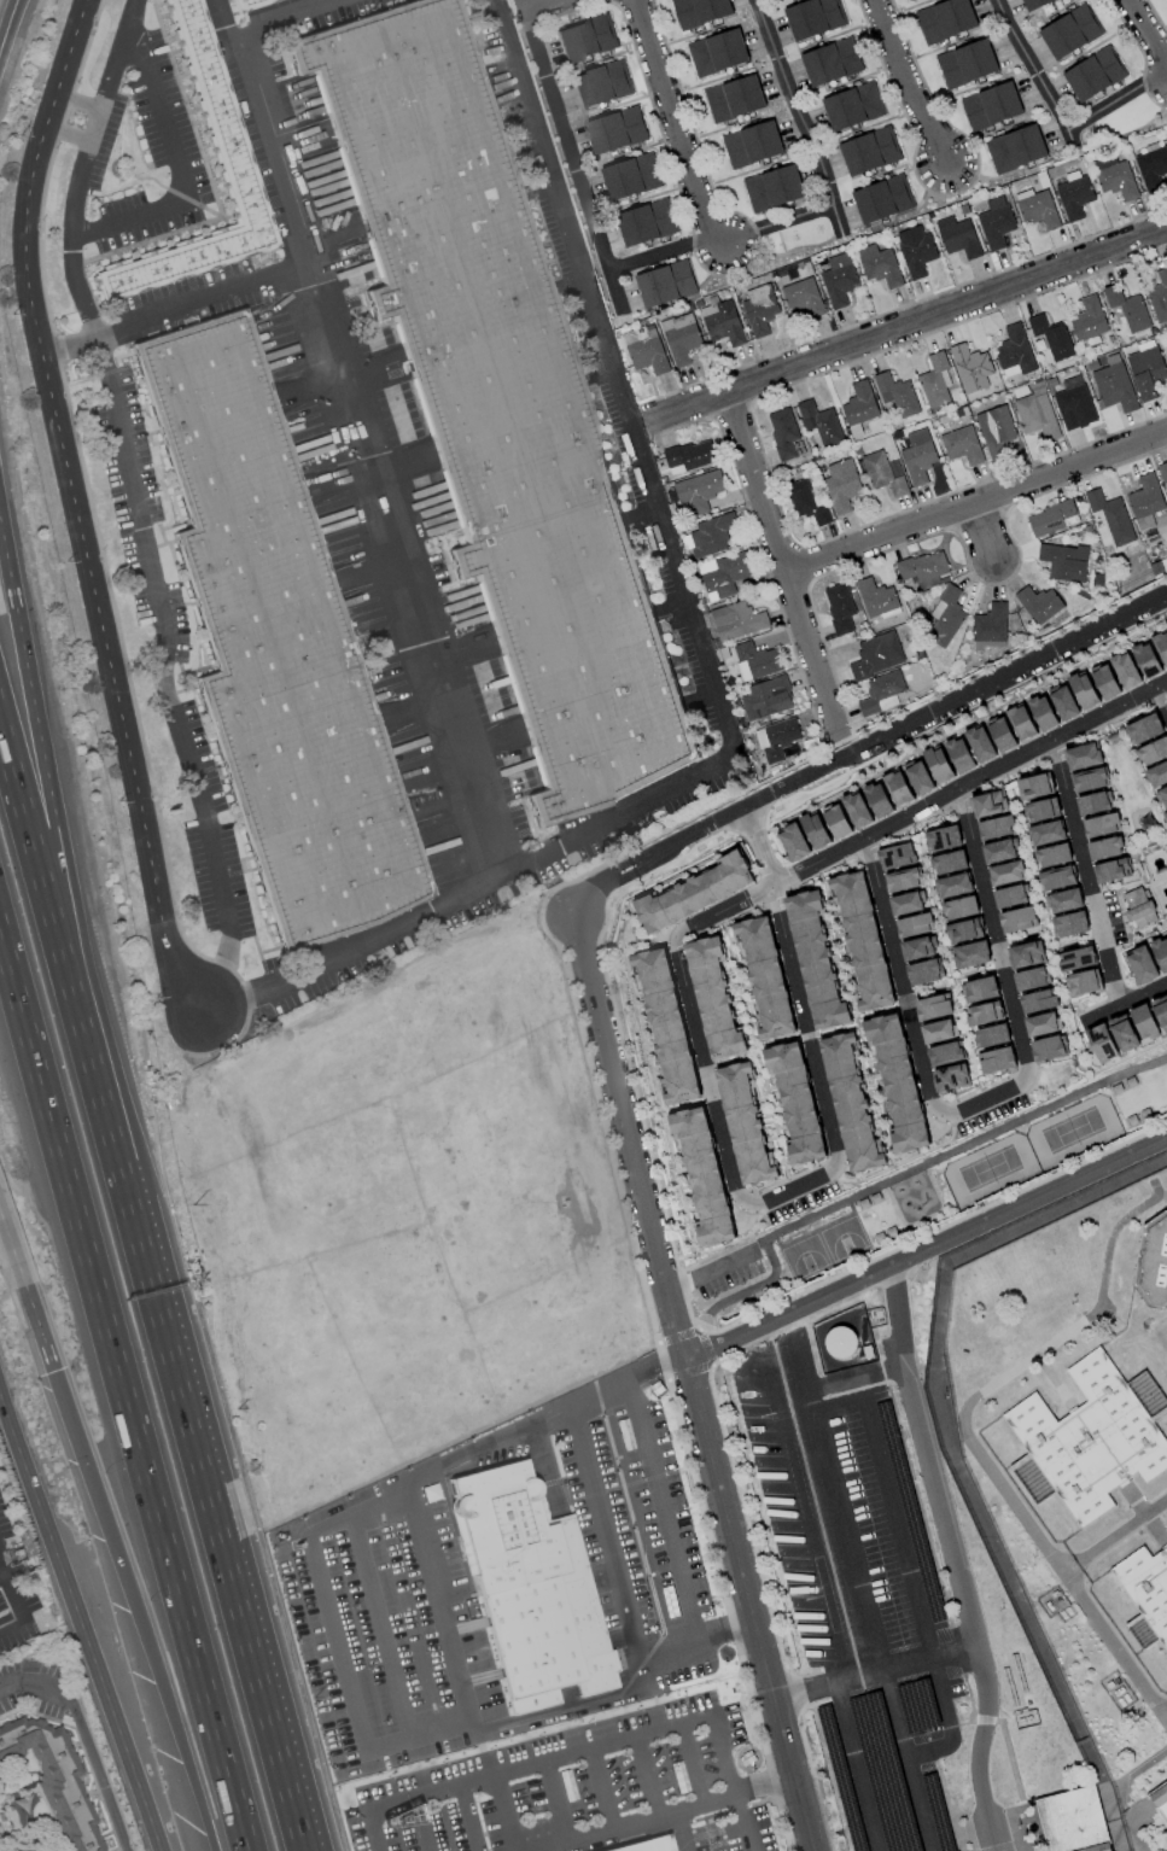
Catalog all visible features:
building: (908, 0)
building: (245, 2)
building: (1034, 4)
road: (550, 6)
building: (699, 11)
road: (281, 14)
building: (813, 17)
building: (945, 21)
road: (10, 29)
building: (1069, 31)
road: (1148, 33)
building: (585, 39)
building: (717, 52)
building: (830, 62)
building: (965, 63)
road: (1034, 71)
building: (1093, 74)
road: (911, 82)
building: (600, 83)
building: (734, 98)
road: (1114, 100)
road: (80, 101)
building: (852, 106)
building: (991, 106)
road: (799, 118)
road: (678, 122)
building: (615, 130)
road: (70, 136)
building: (226, 139)
building: (751, 144)
building: (1015, 148)
building: (869, 151)
road: (572, 154)
road: (82, 168)
building: (1151, 168)
road: (180, 170)
building: (630, 176)
building: (1114, 177)
building: (772, 188)
building: (882, 199)
building: (1037, 208)
building: (994, 222)
building: (644, 223)
road: (775, 223)
building: (957, 237)
building: (915, 250)
road: (663, 252)
building: (879, 264)
building: (838, 280)
building: (665, 284)
building: (803, 297)
building: (1159, 297)
road: (204, 300)
building: (759, 308)
building: (1126, 308)
building: (1089, 320)
building: (722, 322)
road: (911, 325)
building: (1051, 337)
building: (679, 338)
road: (70, 345)
building: (646, 350)
building: (1014, 352)
building: (970, 368)
building: (1145, 369)
building: (935, 380)
building: (1114, 387)
building: (895, 395)
building: (496, 396)
building: (1070, 398)
building: (858, 407)
building: (1035, 411)
building: (819, 421)
building: (994, 431)
road: (356, 432)
building: (784, 434)
building: (962, 445)
building: (689, 456)
building: (917, 456)
building: (883, 473)
building: (1163, 474)
building: (840, 484)
building: (698, 491)
road: (975, 501)
building: (1145, 501)
building: (806, 502)
road: (75, 509)
building: (1110, 516)
building: (1051, 518)
road: (980, 532)
building: (710, 535)
building: (1063, 561)
road: (783, 568)
building: (922, 570)
building: (723, 574)
building: (876, 598)
building: (1039, 603)
building: (839, 607)
building: (945, 617)
building: (736, 620)
building: (990, 626)
building: (273, 640)
building: (1161, 644)
road: (24, 649)
road: (702, 654)
building: (876, 654)
building: (1146, 659)
building: (755, 660)
building: (1126, 670)
road: (167, 675)
building: (1105, 681)
building: (1084, 690)
building: (880, 693)
building: (766, 697)
road: (1163, 697)
building: (1064, 702)
building: (1043, 712)
building: (1021, 722)
road: (906, 726)
building: (1144, 729)
building: (782, 732)
building: (1003, 735)
building: (981, 743)
building: (1153, 752)
building: (961, 755)
building: (1083, 755)
building: (939, 764)
building: (1157, 775)
building: (920, 777)
building: (1089, 779)
building: (1034, 787)
building: (899, 788)
building: (1162, 796)
building: (879, 800)
road: (17, 801)
building: (990, 804)
building: (1092, 804)
building: (857, 810)
building: (1039, 811)
road: (921, 813)
building: (1165, 816)
building: (838, 821)
road: (40, 824)
building: (1101, 825)
building: (996, 828)
building: (816, 830)
building: (1046, 833)
building: (943, 839)
building: (794, 842)
building: (1104, 848)
building: (998, 851)
building: (1052, 856)
building: (895, 857)
building: (949, 863)
road: (615, 868)
building: (1111, 870)
building: (1006, 872)
road: (1087, 875)
road: (623, 878)
building: (1057, 878)
building: (903, 880)
road: (661, 883)
building: (953, 884)
road: (585, 892)
building: (695, 892)
building: (1010, 897)
building: (1064, 900)
building: (906, 903)
road: (574, 905)
building: (961, 907)
building: (1138, 907)
building: (1017, 919)
building: (1069, 924)
building: (915, 925)
building: (962, 930)
road: (1049, 938)
building: (863, 940)
road: (838, 945)
building: (917, 948)
building: (1160, 952)
building: (971, 954)
building: (1027, 954)
road: (947, 958)
building: (1076, 959)
road: (587, 962)
building: (816, 962)
building: (1142, 965)
road: (978, 970)
building: (923, 973)
building: (764, 975)
building: (1031, 979)
building: (1083, 983)
road: (929, 989)
building: (980, 989)
building: (714, 999)
building: (1038, 1000)
road: (1121, 1004)
building: (933, 1008)
road: (881, 1010)
building: (985, 1014)
building: (1150, 1018)
building: (666, 1024)
building: (1040, 1024)
road: (833, 1030)
building: (938, 1030)
building: (1124, 1033)
building: (993, 1035)
road: (780, 1039)
building: (1101, 1043)
building: (1048, 1049)
road: (755, 1052)
building: (945, 1053)
road: (1120, 1058)
road: (730, 1059)
building: (997, 1059)
road: (39, 1074)
building: (951, 1078)
building: (897, 1081)
road: (875, 1094)
road: (986, 1098)
building: (795, 1102)
building: (850, 1103)
building: (743, 1122)
road: (666, 1138)
road: (111, 1144)
road: (899, 1162)
road: (829, 1172)
building: (702, 1175)
road: (894, 1178)
park: (933, 1189)
road: (934, 1230)
road: (923, 1244)
road: (677, 1257)
building: (1153, 1262)
road: (19, 1271)
road: (710, 1273)
building: (840, 1343)
road: (46, 1348)
road: (702, 1432)
road: (964, 1436)
building: (1095, 1437)
road: (543, 1472)
road: (660, 1511)
road: (894, 1517)
road: (601, 1531)
road: (167, 1534)
road: (1114, 1534)
road: (952, 1555)
road: (567, 1558)
road: (854, 1572)
road: (601, 1573)
building: (1148, 1588)
building: (530, 1590)
road: (13, 1601)
road: (438, 1604)
road: (140, 1608)
road: (81, 1621)
road: (379, 1625)
building: (1142, 1633)
road: (245, 1635)
road: (342, 1664)
road: (874, 1672)
road: (34, 1684)
road: (561, 1757)
road: (692, 1763)
road: (856, 1768)
road: (98, 1773)
road: (646, 1776)
building: (52, 1777)
road: (765, 1786)
road: (602, 1788)
road: (1121, 1789)
building: (1160, 1799)
road: (554, 1800)
road: (504, 1814)
road: (468, 1818)
building: (1073, 1821)
road: (628, 1822)
road: (743, 1822)
road: (421, 1826)
road: (679, 1830)
building: (644, 1845)

